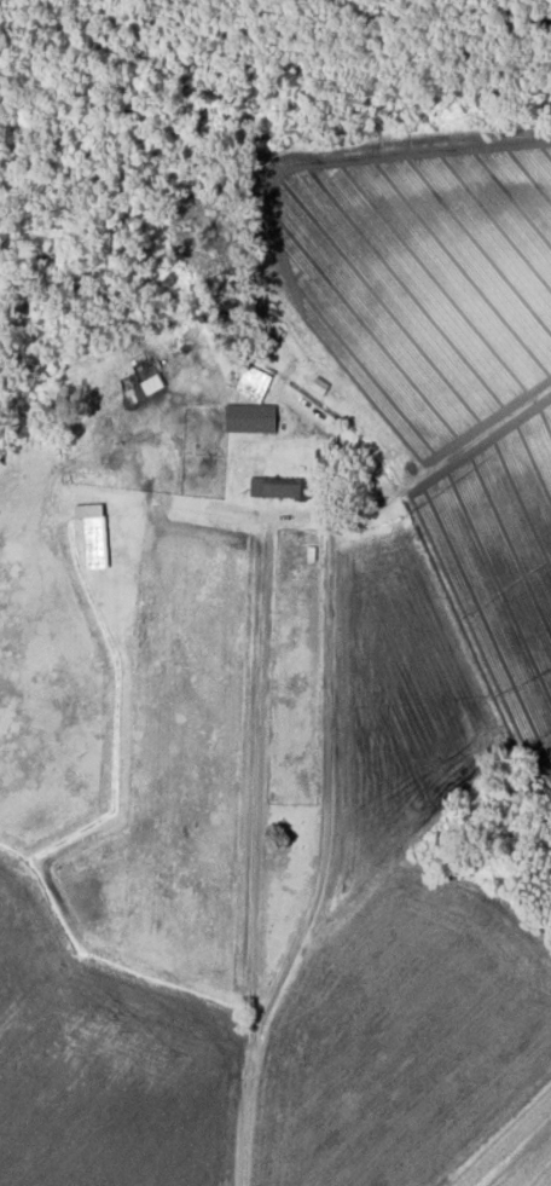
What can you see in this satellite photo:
building: (254, 386)
building: (251, 421)
building: (280, 490)
building: (95, 544)

